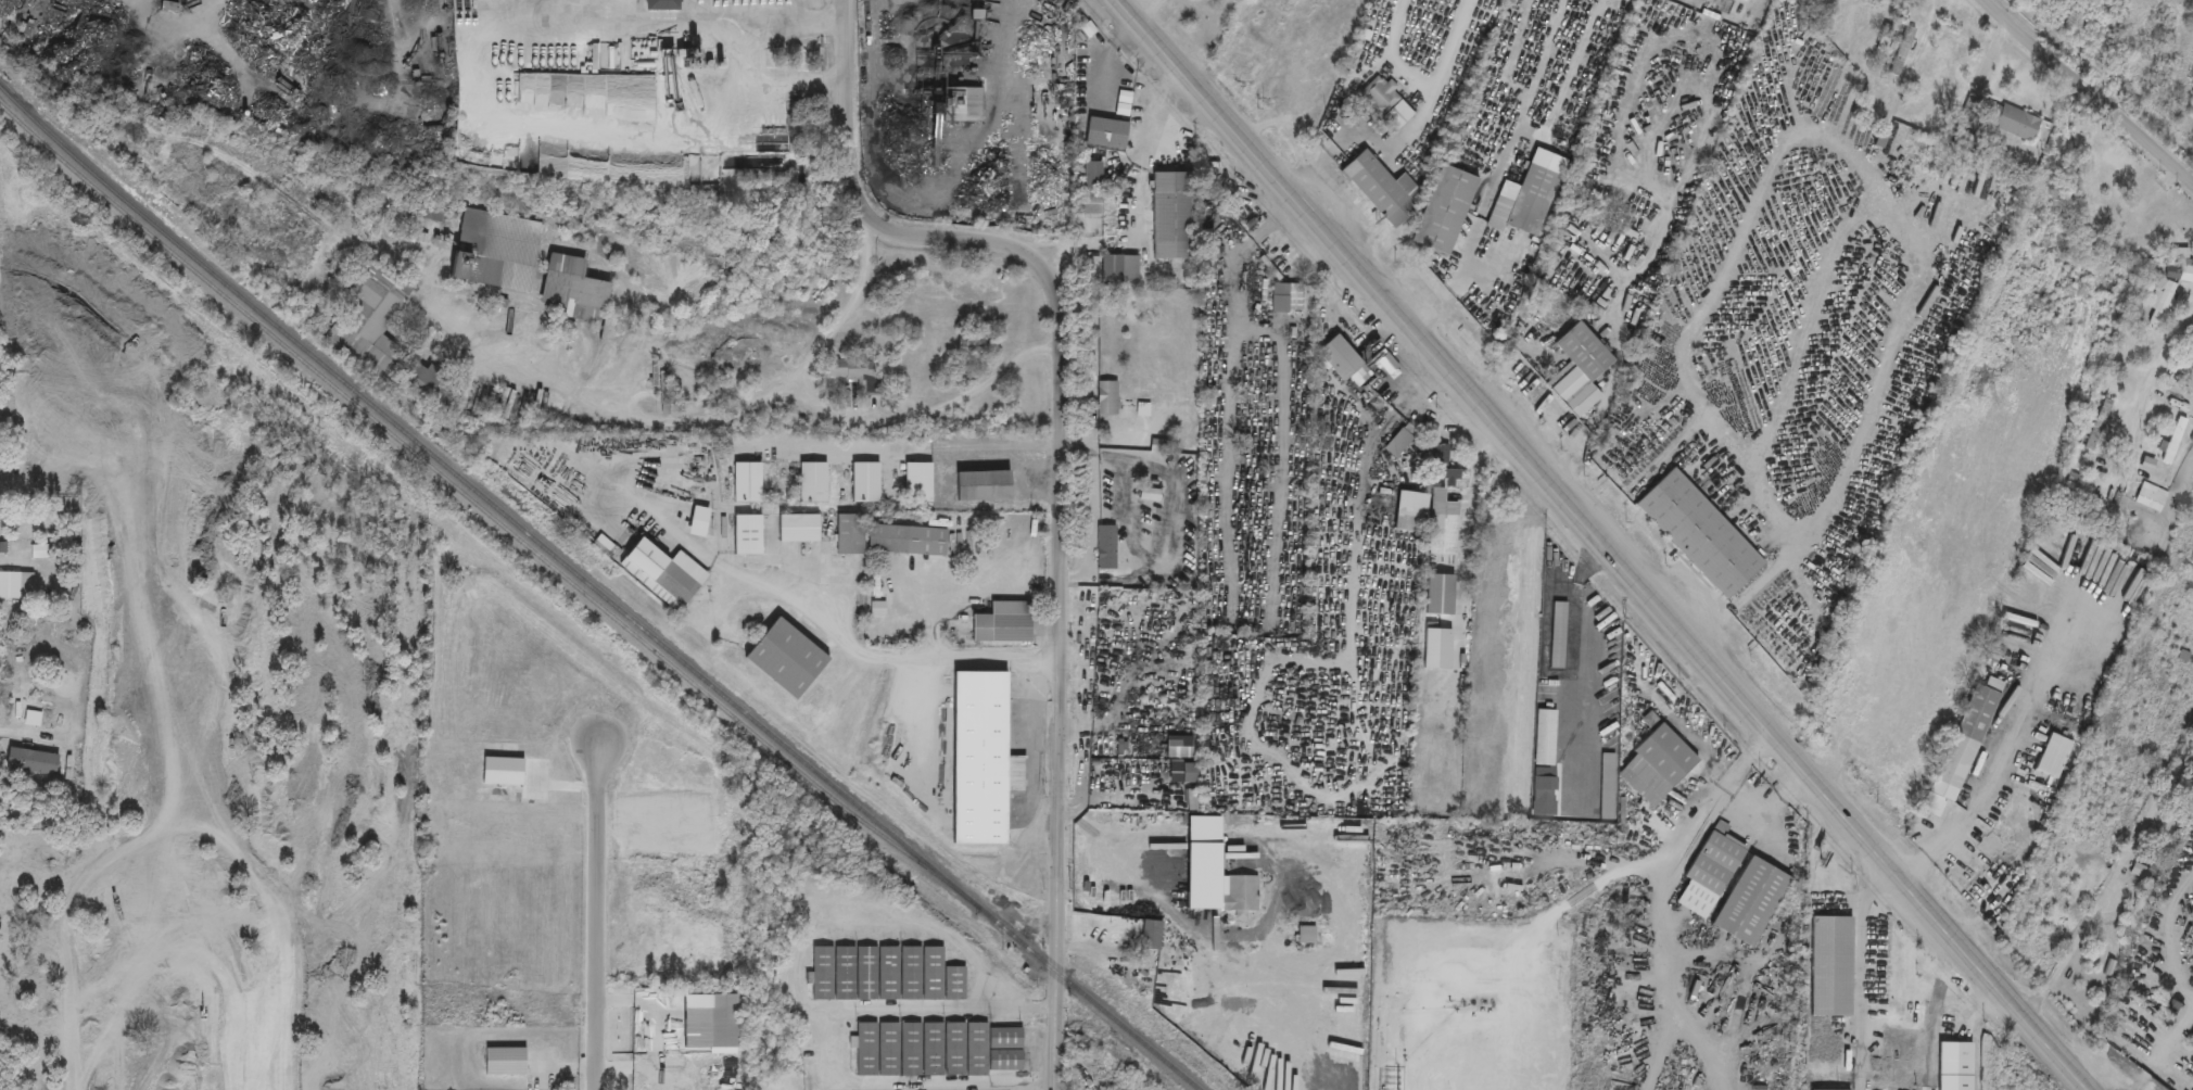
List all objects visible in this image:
road: (321, 1)
building: (660, 5)
road: (1145, 9)
road: (207, 41)
building: (1904, 45)
road: (1446, 48)
road: (1393, 53)
road: (749, 54)
road: (1987, 67)
road: (2088, 86)
road: (489, 92)
building: (1083, 96)
building: (1384, 104)
building: (971, 106)
building: (2012, 123)
road: (1365, 134)
building: (1105, 135)
building: (1092, 175)
road: (1757, 186)
building: (1382, 190)
road: (1142, 195)
building: (1531, 201)
building: (1088, 204)
building: (1443, 211)
building: (1170, 216)
building: (2190, 239)
building: (487, 250)
building: (1119, 269)
building: (570, 290)
building: (2163, 303)
building: (367, 329)
building: (1339, 358)
building: (1576, 363)
building: (857, 375)
building: (421, 377)
building: (664, 390)
road: (2148, 395)
building: (1106, 400)
road: (605, 408)
road: (838, 415)
building: (2173, 441)
road: (941, 442)
building: (1397, 443)
building: (1159, 447)
building: (1443, 466)
road: (1060, 472)
road: (1646, 473)
building: (745, 483)
building: (811, 483)
building: (863, 483)
building: (916, 483)
building: (981, 486)
railway: (460, 492)
building: (1409, 510)
building: (697, 521)
building: (1441, 523)
building: (797, 529)
building: (848, 533)
building: (1698, 533)
building: (746, 535)
building: (905, 540)
road: (1606, 543)
building: (1105, 548)
road: (5, 561)
building: (661, 573)
building: (15, 585)
railway: (597, 591)
building: (1438, 594)
road: (828, 619)
building: (1002, 623)
building: (1557, 635)
building: (784, 658)
road: (1030, 727)
road: (22, 734)
building: (1962, 746)
building: (1664, 756)
building: (2053, 756)
building: (980, 759)
building: (1544, 763)
road: (1990, 771)
building: (1606, 787)
road: (1770, 813)
building: (1149, 845)
road: (1674, 854)
building: (1999, 855)
building: (1709, 874)
building: (1240, 893)
road: (1855, 896)
building: (1750, 901)
building: (2139, 909)
road: (862, 914)
road: (599, 916)
building: (1624, 918)
building: (1151, 935)
building: (1306, 935)
road: (2072, 951)
building: (883, 974)
road: (1871, 976)
road: (71, 979)
building: (1834, 989)
road: (915, 1009)
building: (709, 1024)
road: (1950, 1028)
road: (2172, 1034)
building: (1885, 1047)
building: (875, 1049)
building: (958, 1049)
building: (1831, 1057)
road: (939, 1086)

